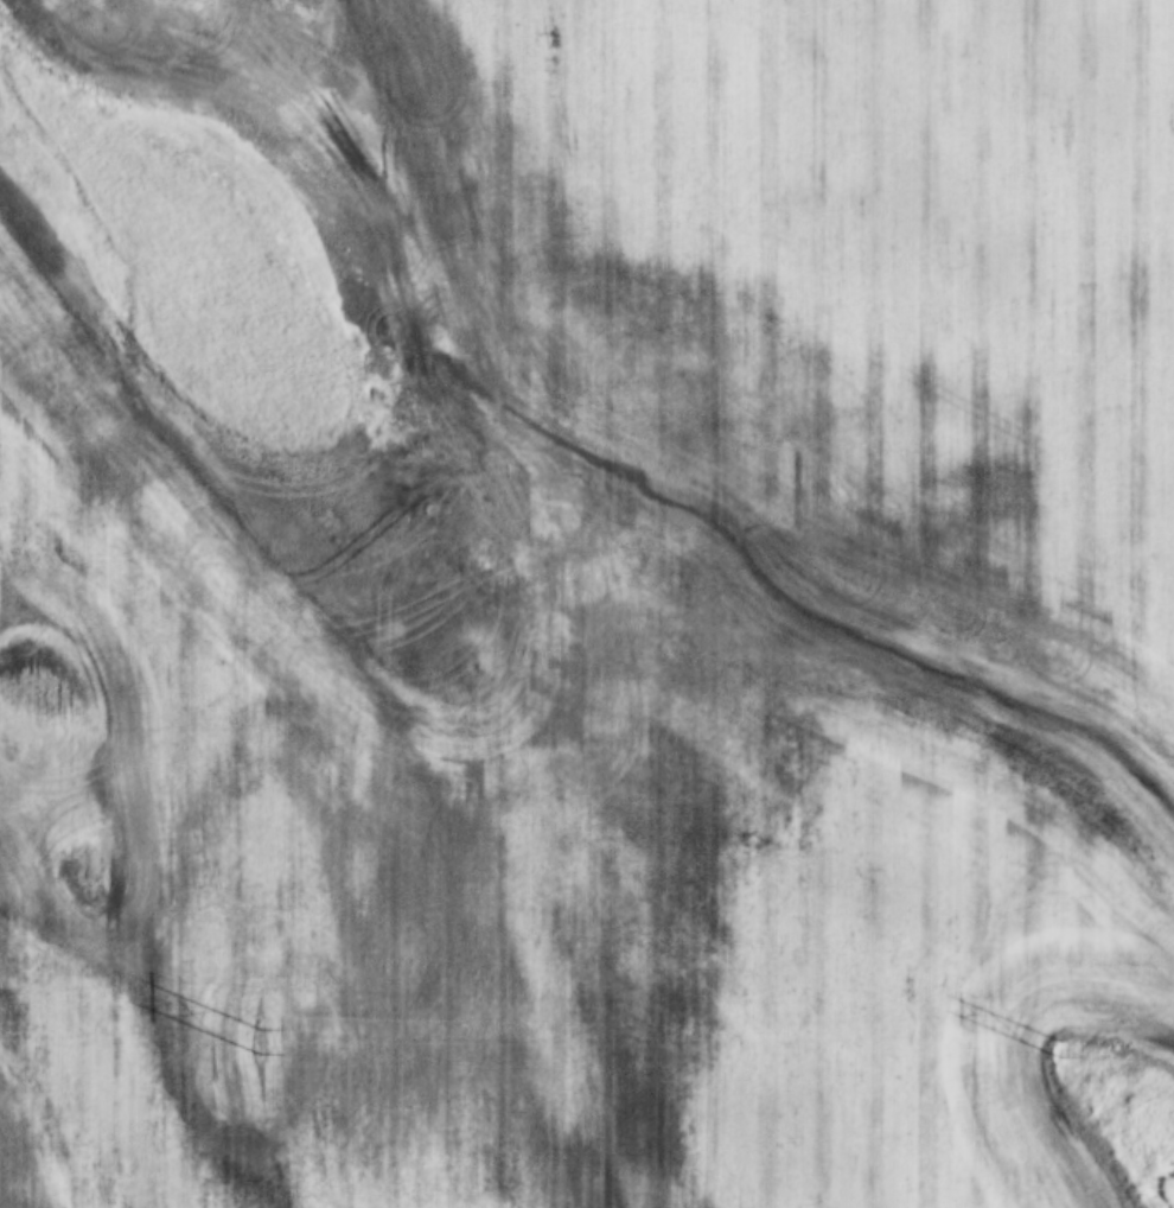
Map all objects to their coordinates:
power tower: (259, 1037)
power tower: (1064, 1050)

